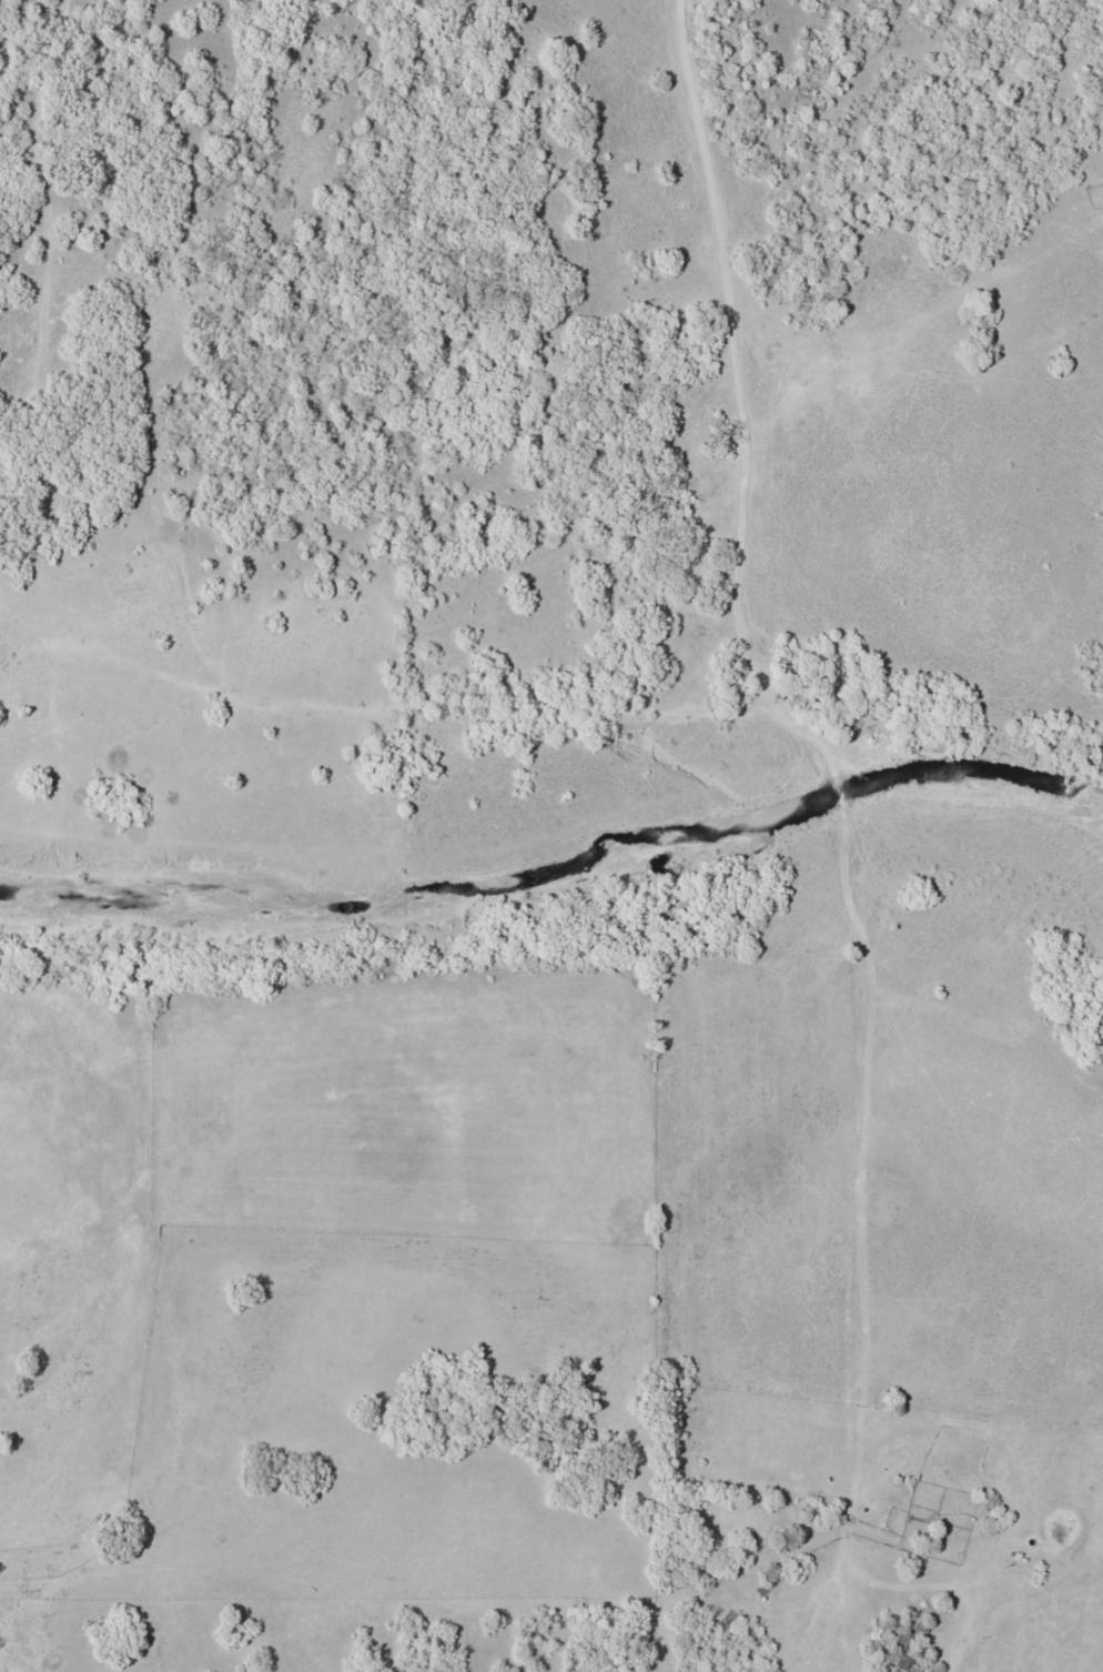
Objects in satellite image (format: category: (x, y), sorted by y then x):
building: (907, 1661)

